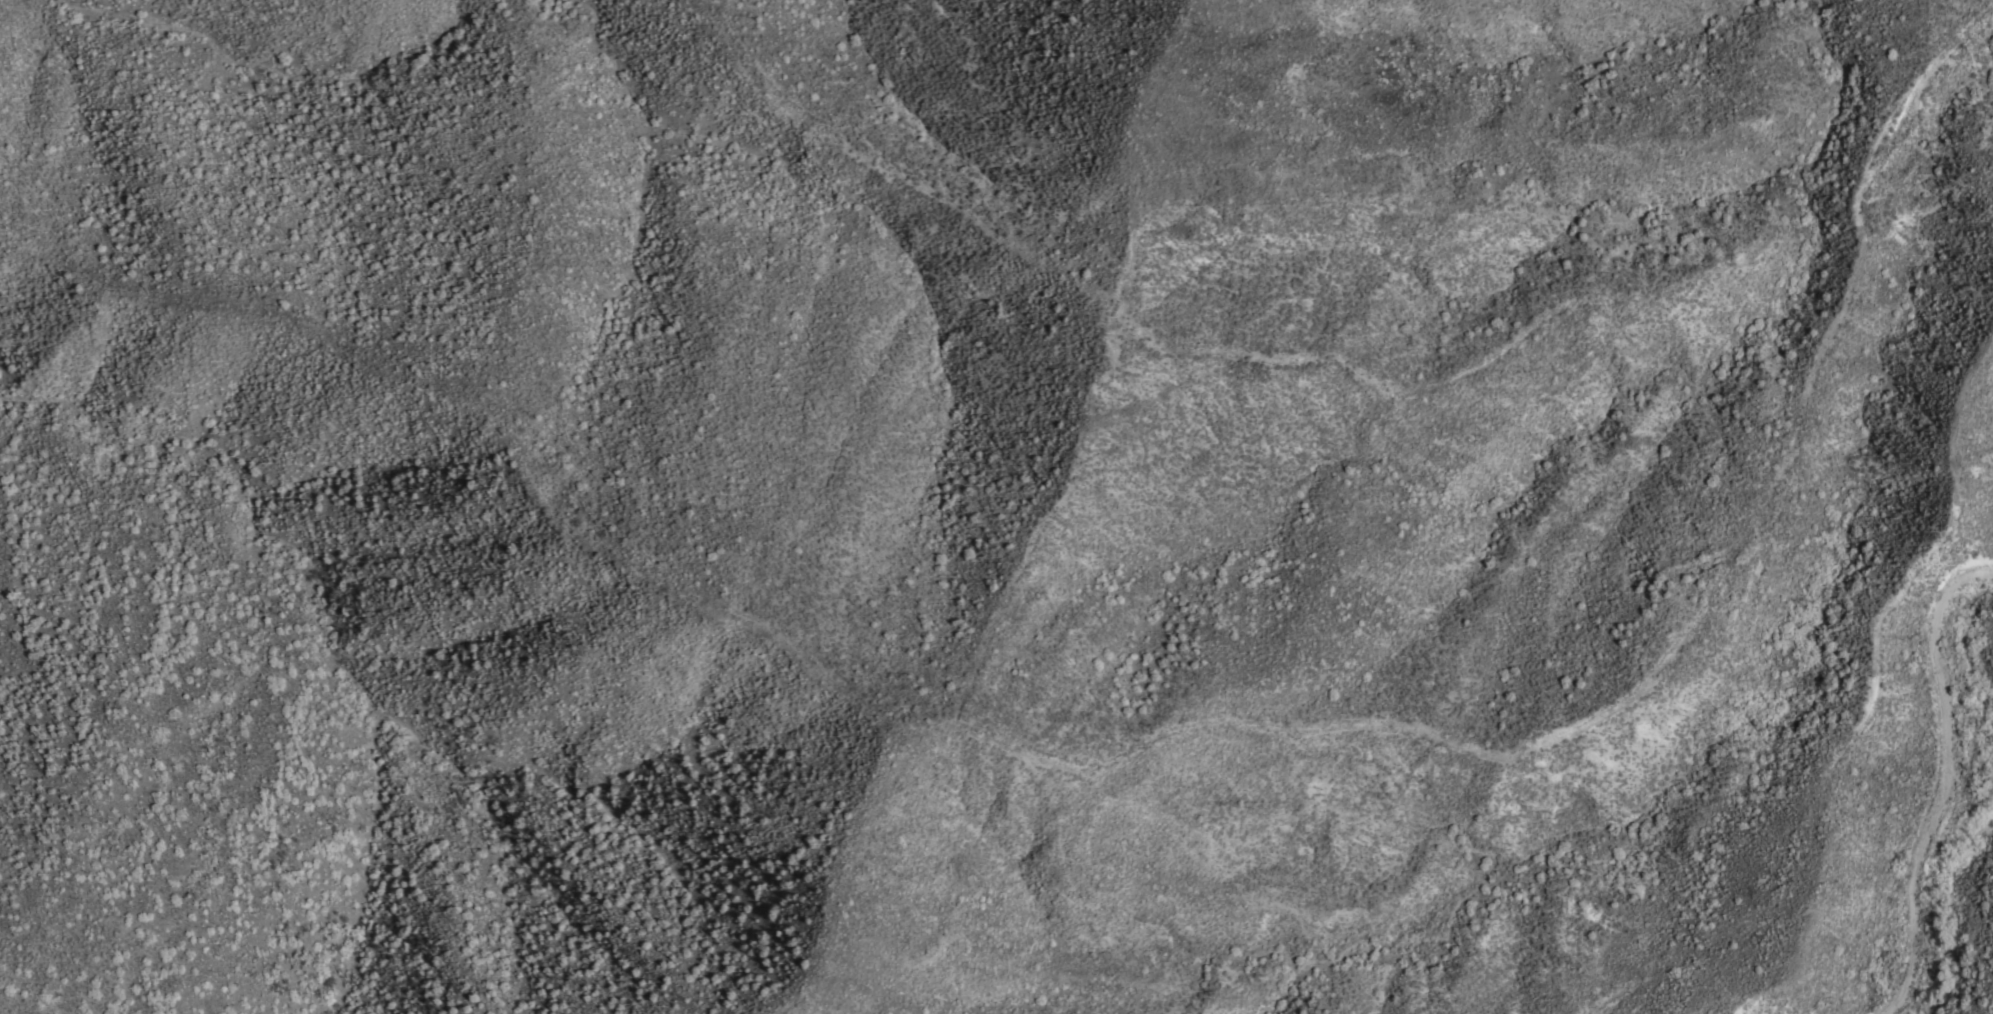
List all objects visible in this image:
road: (1959, 824)

